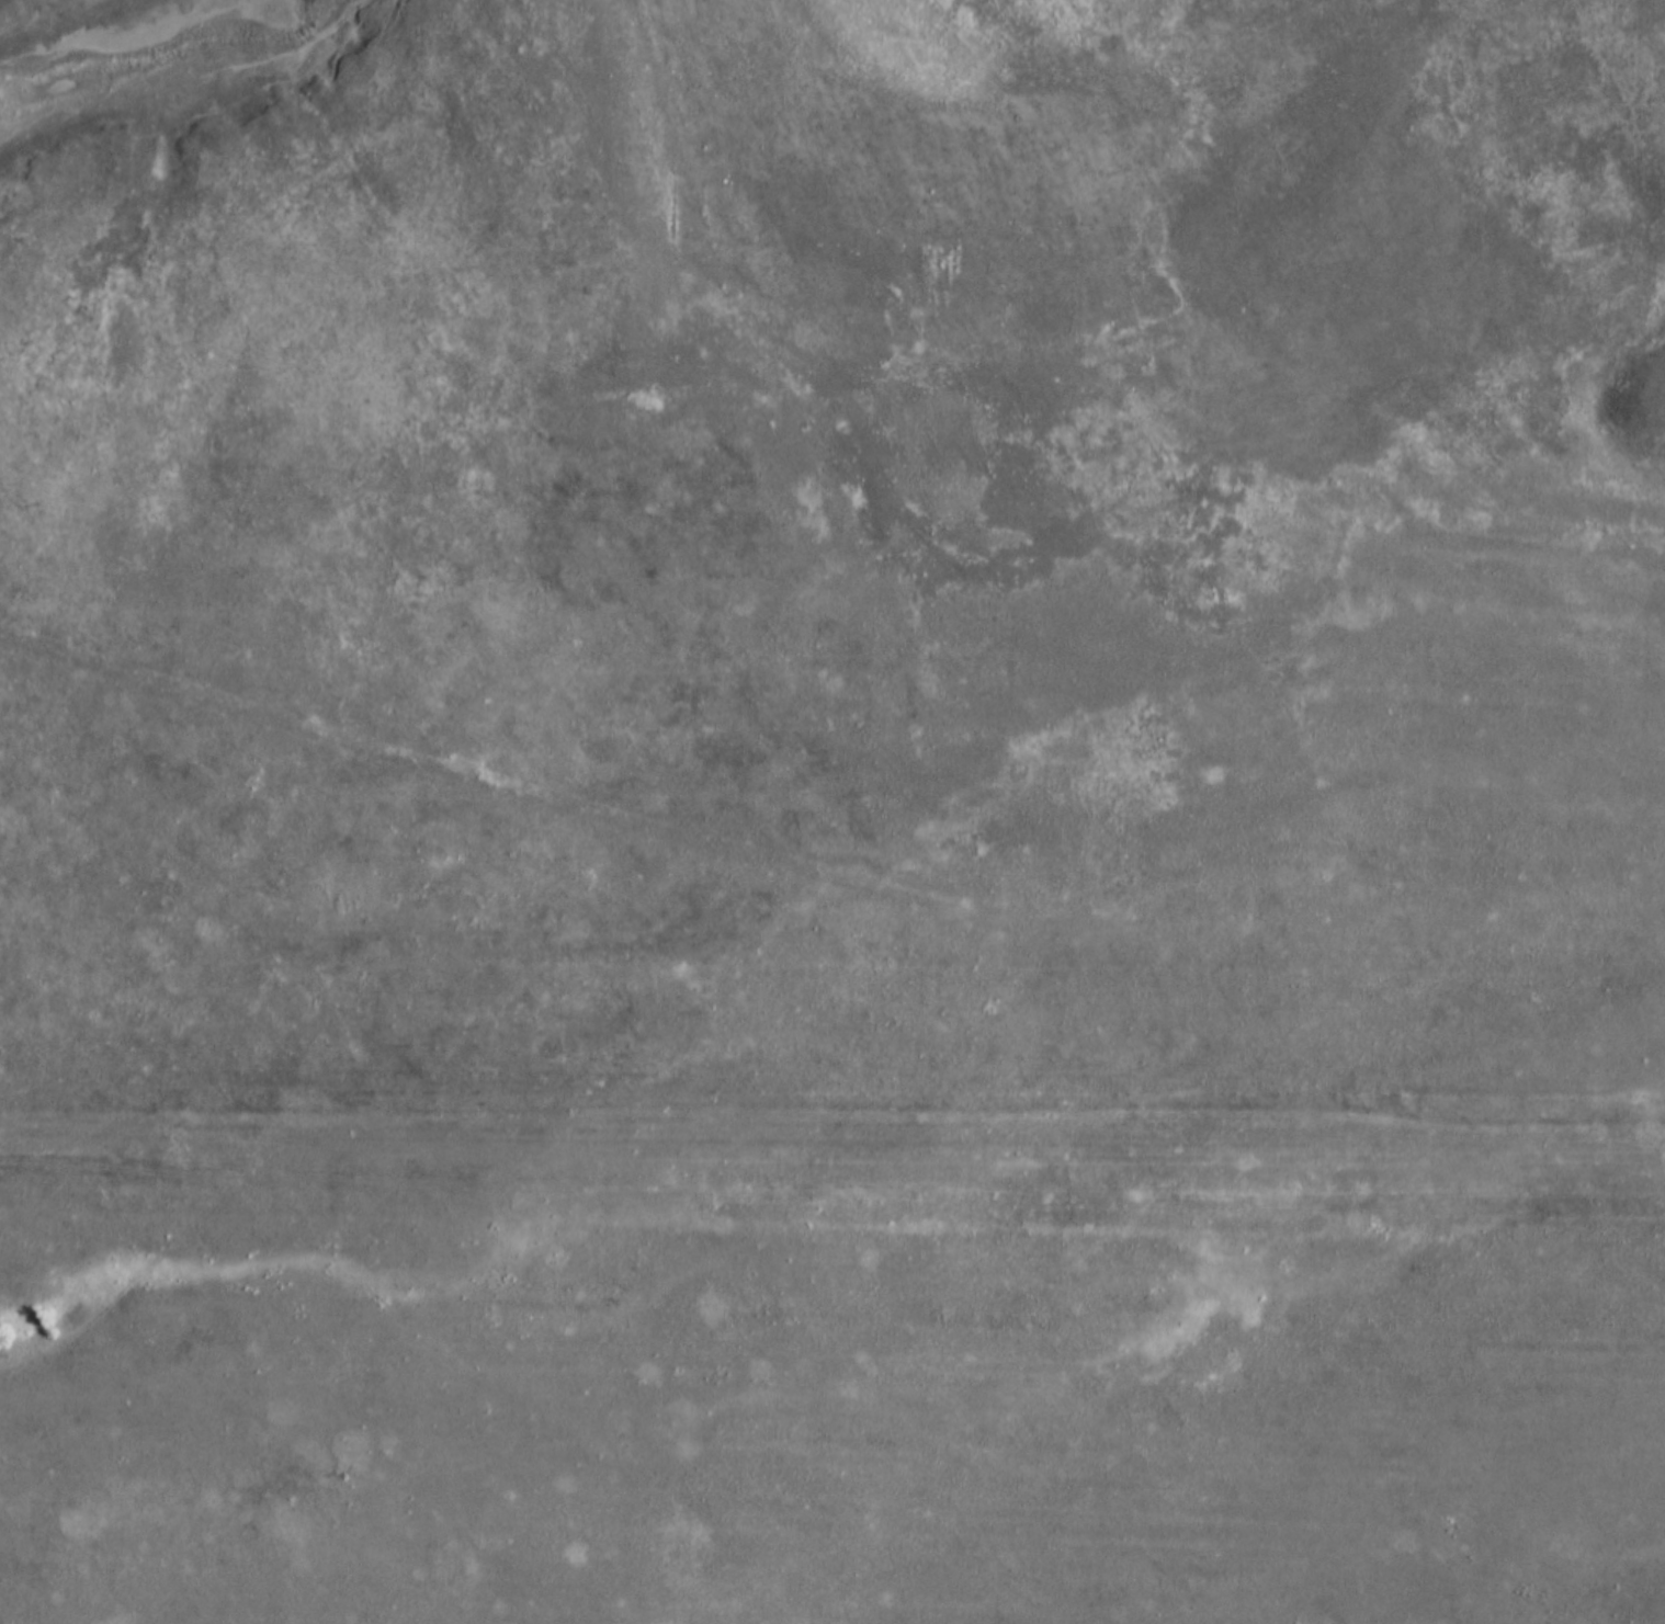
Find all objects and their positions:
road: (831, 1183)

